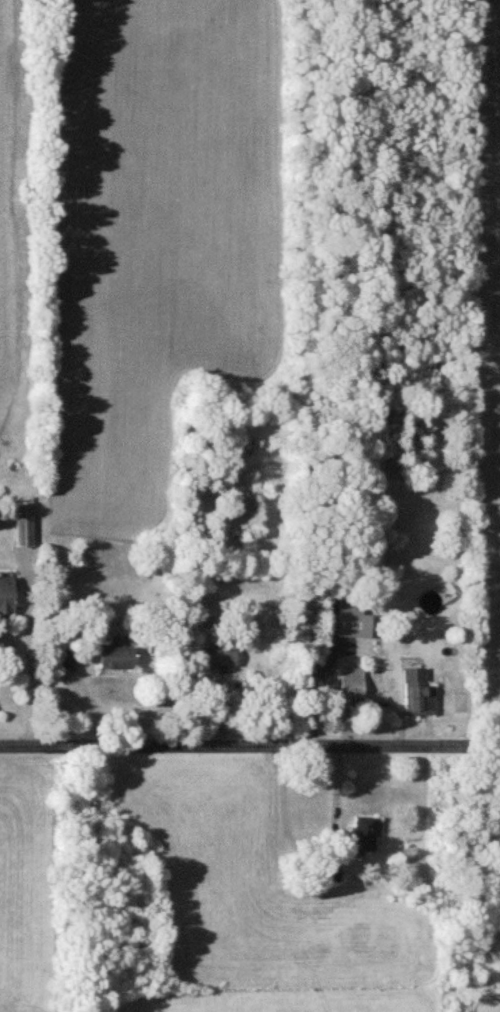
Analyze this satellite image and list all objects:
building: (25, 524)
building: (7, 595)
building: (353, 621)
building: (220, 656)
building: (117, 657)
building: (68, 659)
building: (352, 683)
building: (419, 693)
road: (250, 748)
building: (363, 834)
building: (332, 872)

